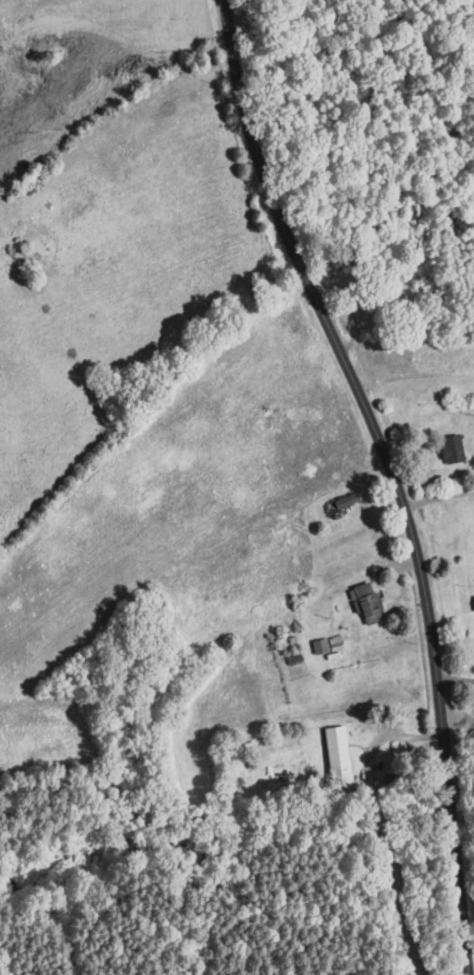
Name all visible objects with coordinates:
building: (384, 297)
building: (450, 449)
road: (391, 476)
building: (345, 502)
building: (366, 604)
building: (326, 646)
building: (337, 755)

